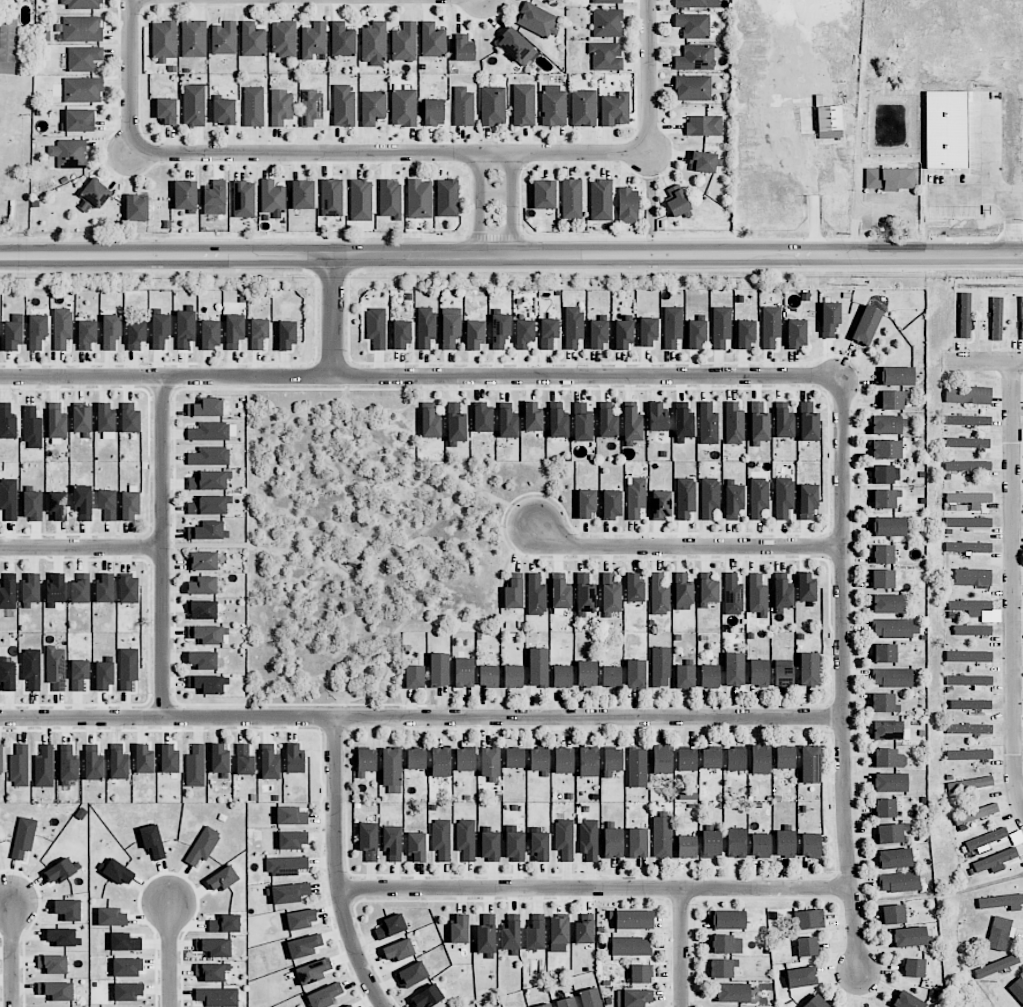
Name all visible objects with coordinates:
building: (606, 1)
building: (81, 4)
building: (697, 4)
building: (536, 20)
building: (607, 23)
building: (693, 25)
building: (82, 28)
building: (224, 38)
building: (193, 39)
building: (283, 39)
building: (164, 40)
building: (252, 40)
building: (314, 40)
building: (343, 40)
building: (432, 40)
building: (404, 42)
building: (373, 43)
building: (8, 46)
building: (516, 46)
building: (463, 48)
building: (605, 56)
building: (84, 58)
building: (695, 58)
road: (130, 77)
road: (649, 77)
building: (693, 88)
building: (83, 89)
building: (193, 105)
building: (343, 105)
building: (523, 105)
building: (253, 106)
building: (492, 106)
building: (281, 107)
building: (311, 107)
building: (373, 107)
building: (404, 107)
building: (463, 107)
building: (553, 108)
building: (583, 108)
building: (615, 109)
building: (166, 110)
building: (223, 111)
building: (434, 112)
building: (78, 120)
building: (829, 122)
building: (704, 125)
building: (69, 153)
road: (389, 154)
building: (702, 162)
building: (889, 178)
road: (1002, 185)
building: (543, 194)
building: (185, 195)
building: (302, 195)
road: (498, 195)
building: (93, 196)
building: (272, 197)
building: (331, 197)
building: (215, 198)
building: (447, 198)
building: (243, 199)
building: (390, 199)
building: (419, 199)
building: (571, 199)
building: (361, 200)
building: (601, 200)
building: (676, 201)
road: (482, 205)
road: (515, 205)
building: (628, 205)
building: (136, 208)
road: (511, 256)
building: (965, 315)
road: (332, 316)
building: (829, 318)
building: (996, 318)
building: (1021, 319)
building: (866, 325)
building: (573, 326)
building: (721, 326)
building: (770, 326)
building: (376, 327)
building: (425, 327)
building: (450, 327)
building: (672, 327)
building: (62, 328)
building: (185, 329)
building: (160, 330)
building: (499, 330)
building: (37, 331)
building: (111, 331)
building: (234, 331)
building: (13, 332)
building: (648, 332)
building: (258, 333)
building: (548, 333)
building: (86, 334)
building: (136, 334)
building: (210, 334)
building: (286, 334)
building: (401, 334)
building: (524, 334)
building: (696, 334)
building: (745, 334)
building: (796, 334)
building: (474, 335)
building: (597, 335)
building: (623, 335)
road: (984, 361)
road: (421, 376)
building: (897, 376)
building: (968, 394)
building: (891, 400)
building: (206, 407)
building: (532, 417)
building: (657, 417)
building: (105, 418)
building: (482, 418)
building: (82, 419)
building: (130, 419)
building: (968, 420)
building: (56, 422)
building: (759, 422)
building: (783, 422)
building: (808, 422)
building: (8, 423)
building: (456, 423)
building: (582, 423)
building: (607, 423)
building: (632, 423)
building: (683, 423)
building: (734, 423)
building: (430, 424)
building: (507, 424)
building: (558, 424)
building: (708, 424)
building: (887, 425)
building: (32, 428)
building: (967, 442)
building: (886, 450)
building: (209, 456)
building: (967, 466)
building: (883, 474)
building: (208, 481)
building: (635, 497)
building: (709, 497)
building: (758, 497)
building: (783, 497)
building: (685, 498)
building: (9, 499)
building: (884, 499)
building: (969, 499)
building: (807, 500)
building: (733, 501)
building: (83, 502)
building: (107, 504)
building: (586, 504)
building: (611, 504)
building: (661, 504)
building: (32, 505)
building: (129, 505)
building: (209, 505)
building: (58, 506)
building: (968, 522)
building: (888, 526)
building: (208, 531)
park: (364, 543)
road: (686, 545)
road: (81, 547)
road: (162, 547)
building: (968, 547)
building: (882, 554)
building: (202, 561)
building: (972, 577)
building: (883, 579)
building: (202, 585)
building: (806, 587)
building: (105, 588)
building: (634, 588)
building: (31, 589)
building: (80, 589)
building: (128, 589)
road: (1011, 589)
building: (55, 590)
building: (682, 591)
building: (8, 592)
building: (708, 592)
building: (585, 593)
building: (610, 593)
building: (513, 594)
building: (560, 594)
building: (659, 594)
building: (733, 594)
building: (782, 594)
building: (536, 595)
building: (758, 595)
building: (886, 604)
building: (970, 606)
building: (202, 610)
building: (895, 628)
building: (972, 630)
building: (206, 634)
building: (884, 653)
building: (968, 656)
building: (202, 660)
building: (660, 666)
building: (538, 667)
building: (55, 668)
building: (128, 668)
building: (31, 669)
building: (734, 669)
building: (809, 669)
building: (439, 670)
building: (463, 672)
building: (759, 672)
building: (586, 673)
building: (79, 674)
building: (635, 674)
building: (104, 675)
road: (843, 675)
building: (7, 676)
building: (488, 676)
building: (513, 676)
building: (562, 676)
building: (611, 676)
building: (709, 676)
building: (783, 676)
building: (414, 677)
building: (684, 677)
building: (892, 677)
building: (969, 680)
building: (208, 684)
building: (884, 703)
building: (970, 704)
road: (421, 717)
building: (969, 729)
building: (886, 730)
building: (969, 754)
building: (514, 757)
building: (784, 757)
building: (1, 758)
building: (711, 758)
building: (888, 758)
building: (144, 759)
building: (169, 759)
building: (219, 759)
building: (294, 759)
building: (416, 759)
building: (465, 759)
building: (661, 759)
building: (686, 759)
building: (735, 759)
building: (760, 759)
building: (244, 760)
building: (563, 760)
building: (366, 761)
building: (539, 761)
building: (612, 761)
building: (441, 762)
building: (489, 762)
building: (588, 762)
building: (810, 764)
building: (118, 765)
building: (269, 765)
building: (19, 766)
building: (68, 766)
building: (93, 766)
building: (195, 766)
building: (44, 767)
building: (637, 767)
building: (391, 770)
building: (889, 782)
building: (970, 784)
road: (1019, 792)
building: (885, 808)
building: (975, 814)
building: (291, 816)
building: (890, 833)
building: (661, 835)
building: (23, 837)
building: (986, 838)
building: (293, 839)
building: (465, 839)
building: (564, 839)
building: (589, 839)
building: (441, 840)
building: (152, 841)
building: (368, 841)
building: (392, 842)
building: (613, 843)
building: (637, 843)
building: (711, 843)
building: (735, 843)
building: (784, 843)
building: (760, 845)
building: (810, 845)
building: (203, 846)
building: (490, 846)
building: (514, 846)
building: (416, 847)
building: (539, 847)
building: (686, 847)
building: (894, 858)
building: (995, 861)
building: (285, 865)
road: (338, 867)
building: (60, 871)
building: (118, 872)
building: (222, 879)
building: (899, 882)
road: (595, 888)
building: (289, 893)
building: (68, 910)
building: (893, 914)
building: (111, 917)
building: (632, 919)
building: (808, 919)
building: (300, 920)
building: (728, 920)
building: (225, 924)
building: (390, 926)
building: (459, 929)
building: (559, 930)
building: (583, 932)
building: (1000, 932)
building: (486, 934)
building: (511, 934)
building: (535, 935)
building: (910, 936)
building: (61, 937)
building: (125, 942)
building: (726, 944)
building: (304, 946)
building: (630, 946)
building: (806, 946)
building: (214, 947)
road: (683, 948)
building: (398, 950)
road: (10, 955)
road: (168, 955)
building: (53, 964)
building: (996, 966)
building: (127, 967)
building: (914, 967)
building: (722, 968)
building: (313, 971)
building: (210, 972)
building: (640, 973)
building: (412, 975)
building: (801, 977)
building: (1017, 989)
building: (56, 991)
building: (128, 991)
building: (732, 992)
building: (324, 996)
building: (217, 997)
building: (427, 997)
building: (634, 997)
building: (590, 998)
building: (907, 1001)
building: (566, 1002)
building: (815, 1002)
building: (544, 1005)
building: (348, 1006)

